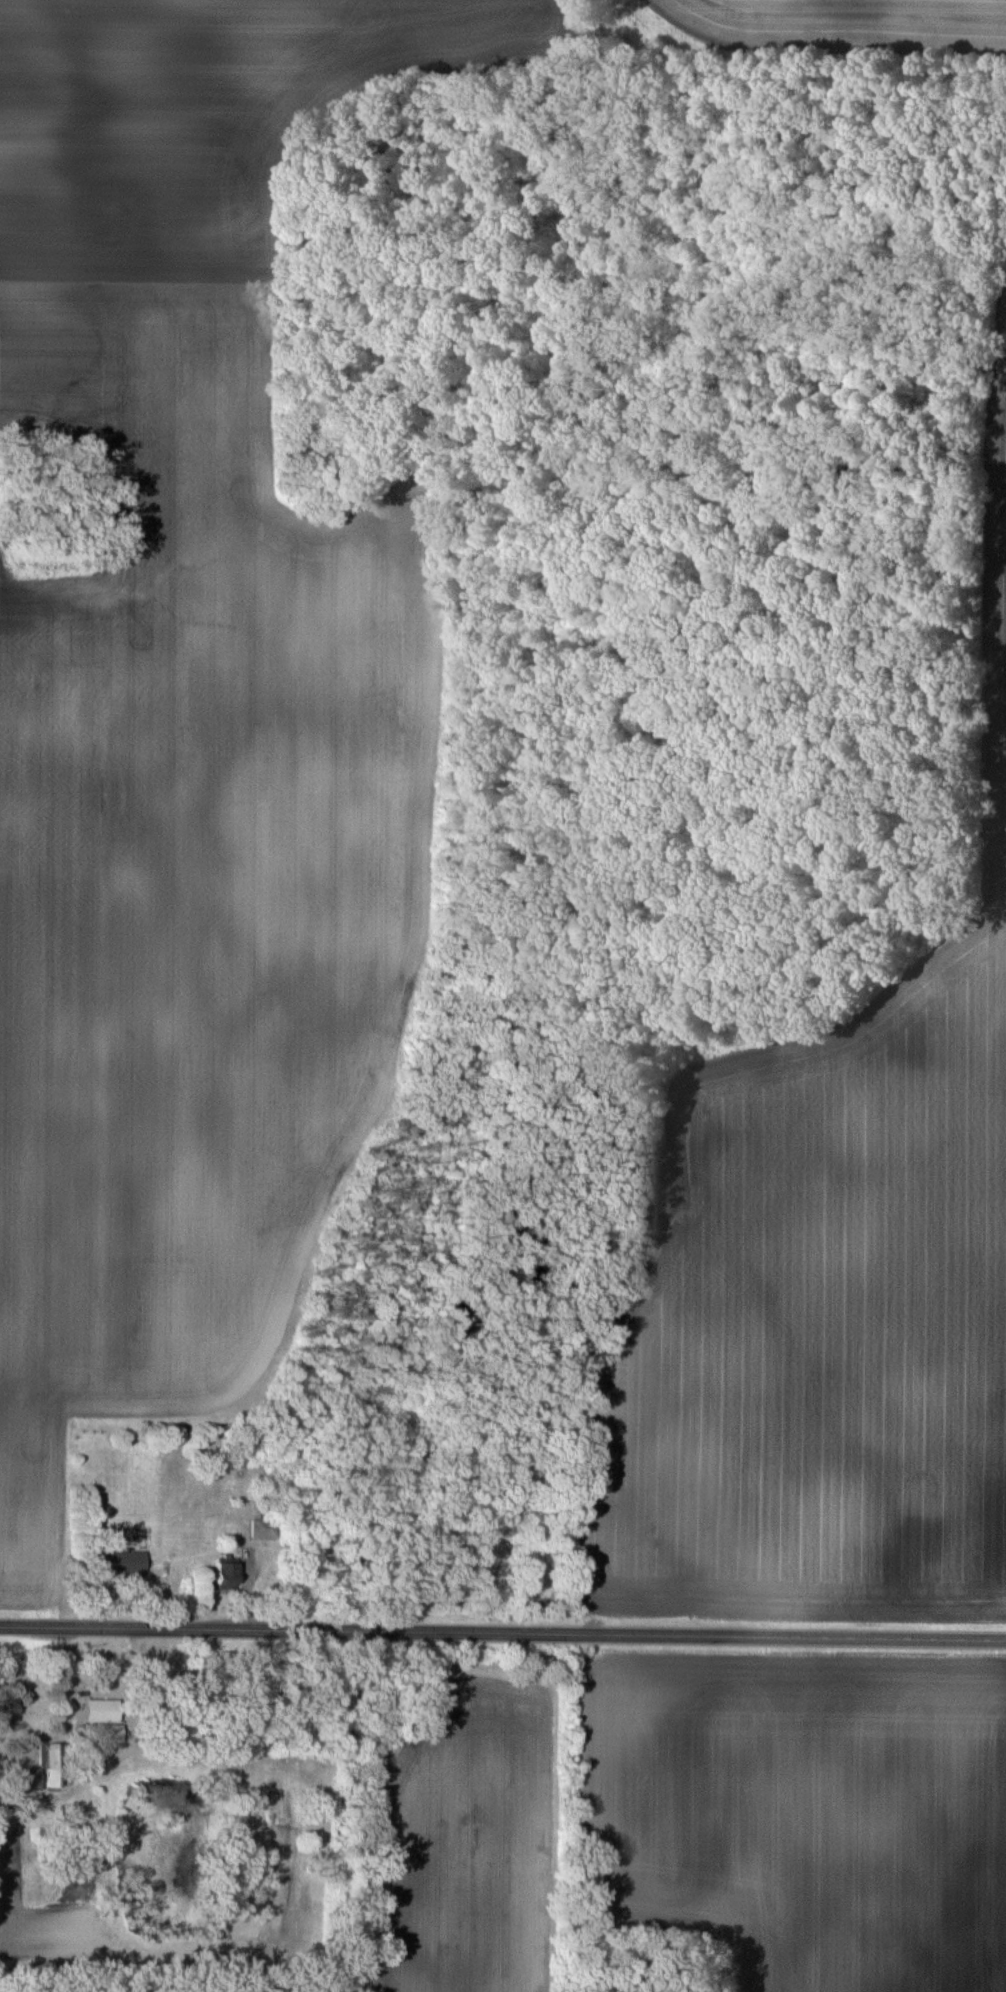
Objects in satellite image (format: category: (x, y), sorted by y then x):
building: (257, 1528)
building: (124, 1563)
building: (230, 1576)
road: (503, 1632)
building: (104, 1710)
building: (106, 1733)
building: (55, 1766)
building: (37, 1834)

